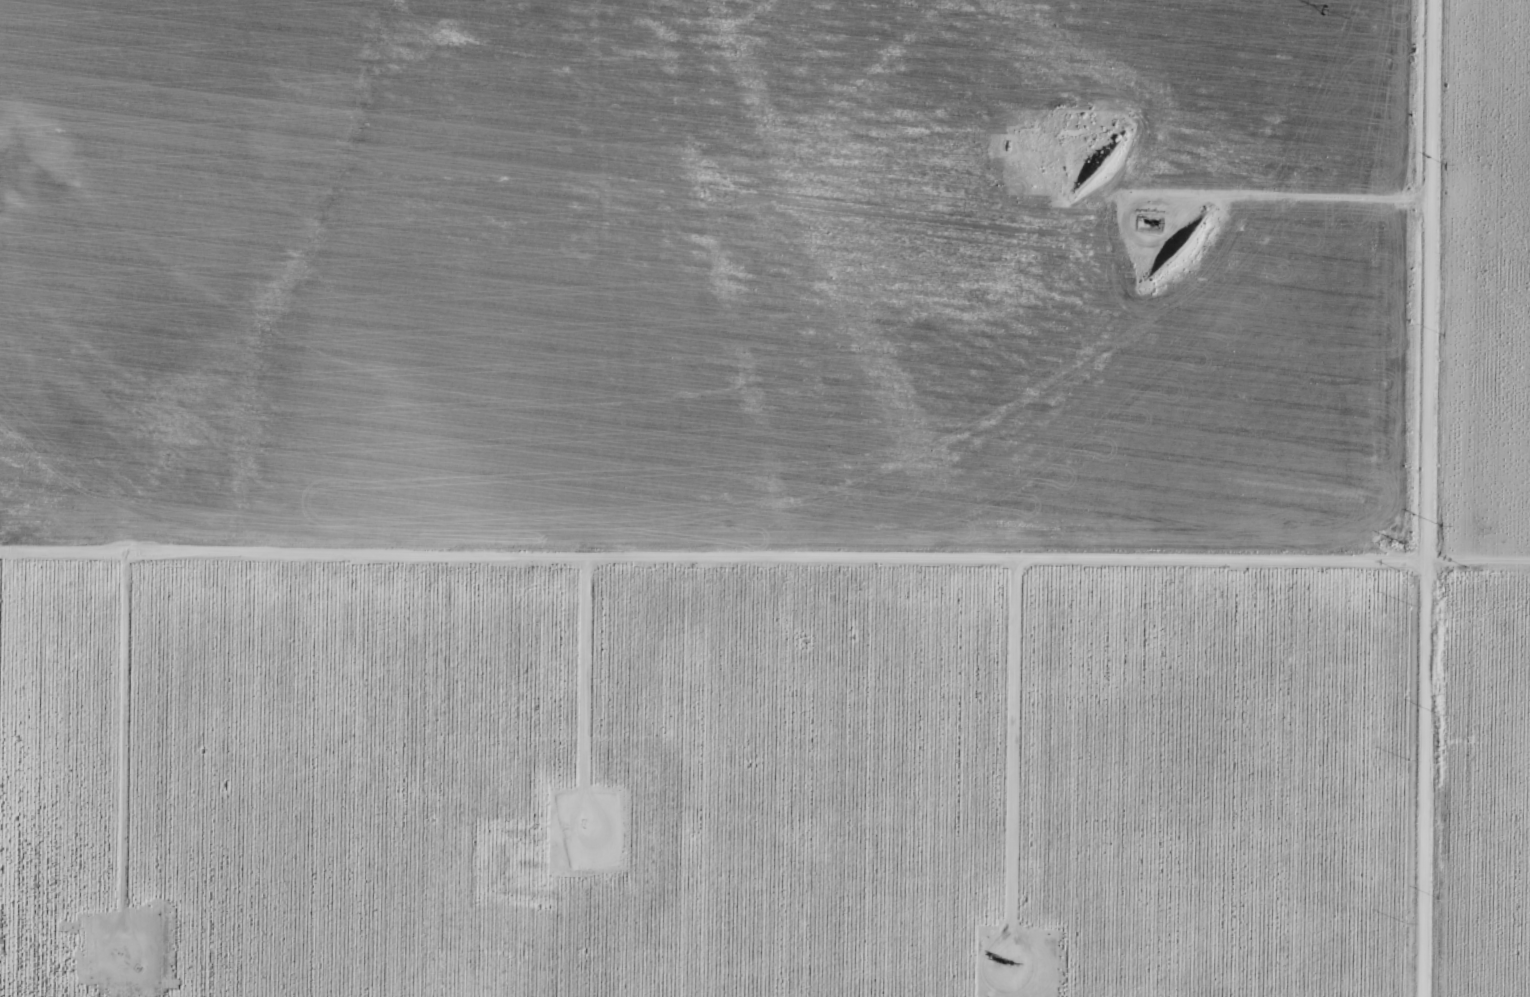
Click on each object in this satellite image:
road: (1426, 498)
road: (712, 574)
road: (420, 783)
petroleum well: (1003, 962)

